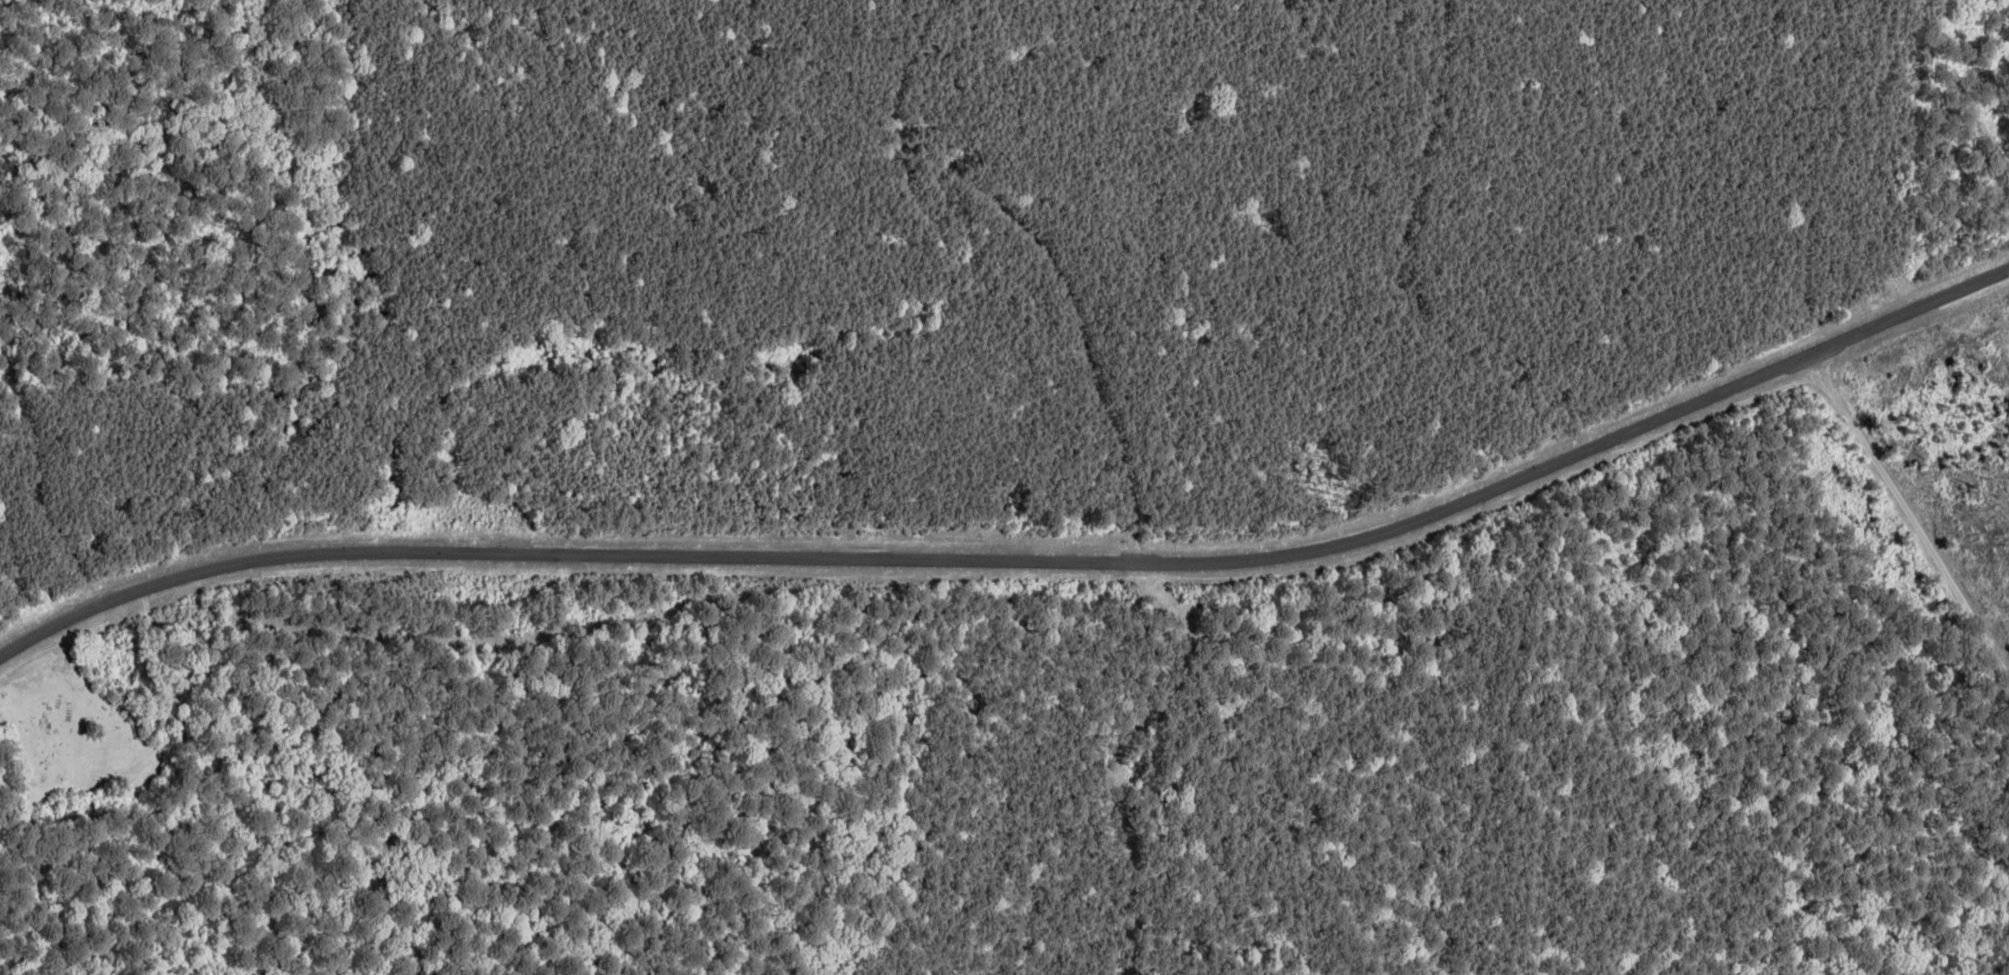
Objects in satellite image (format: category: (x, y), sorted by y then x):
road: (1022, 561)

